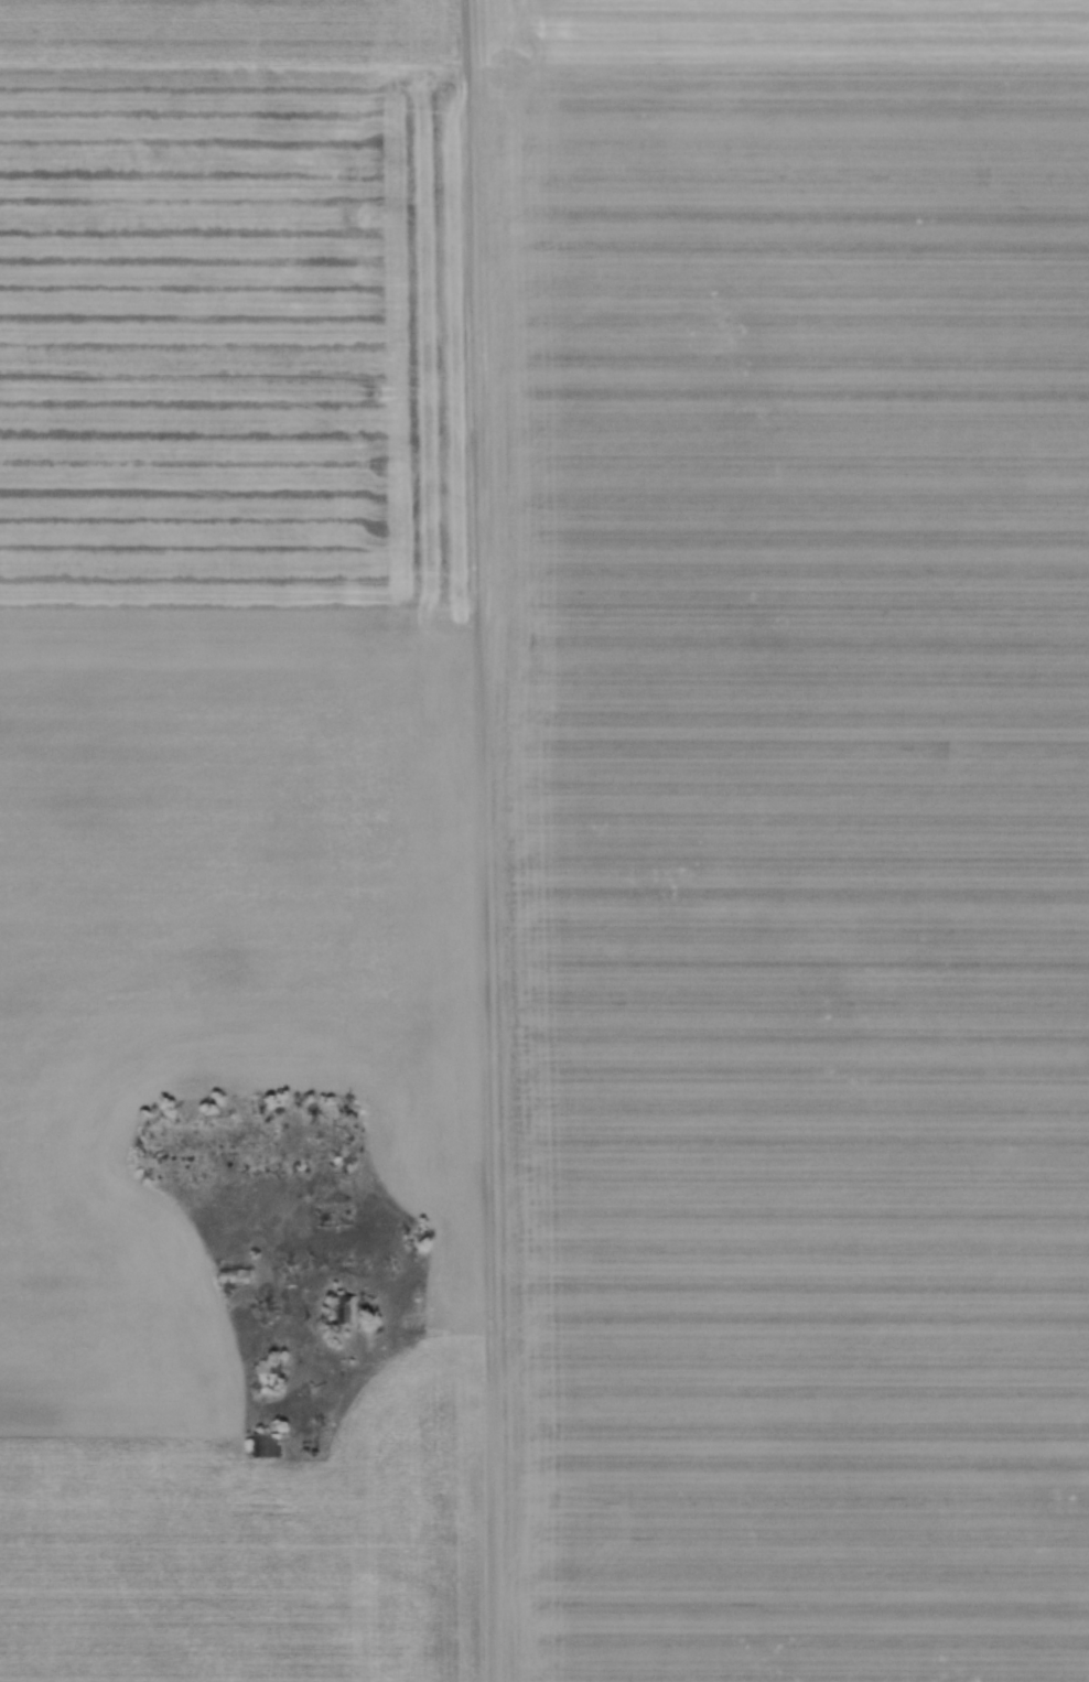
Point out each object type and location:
crop: (544, 841)
building: (342, 1307)
building: (268, 1371)
building: (266, 1444)

